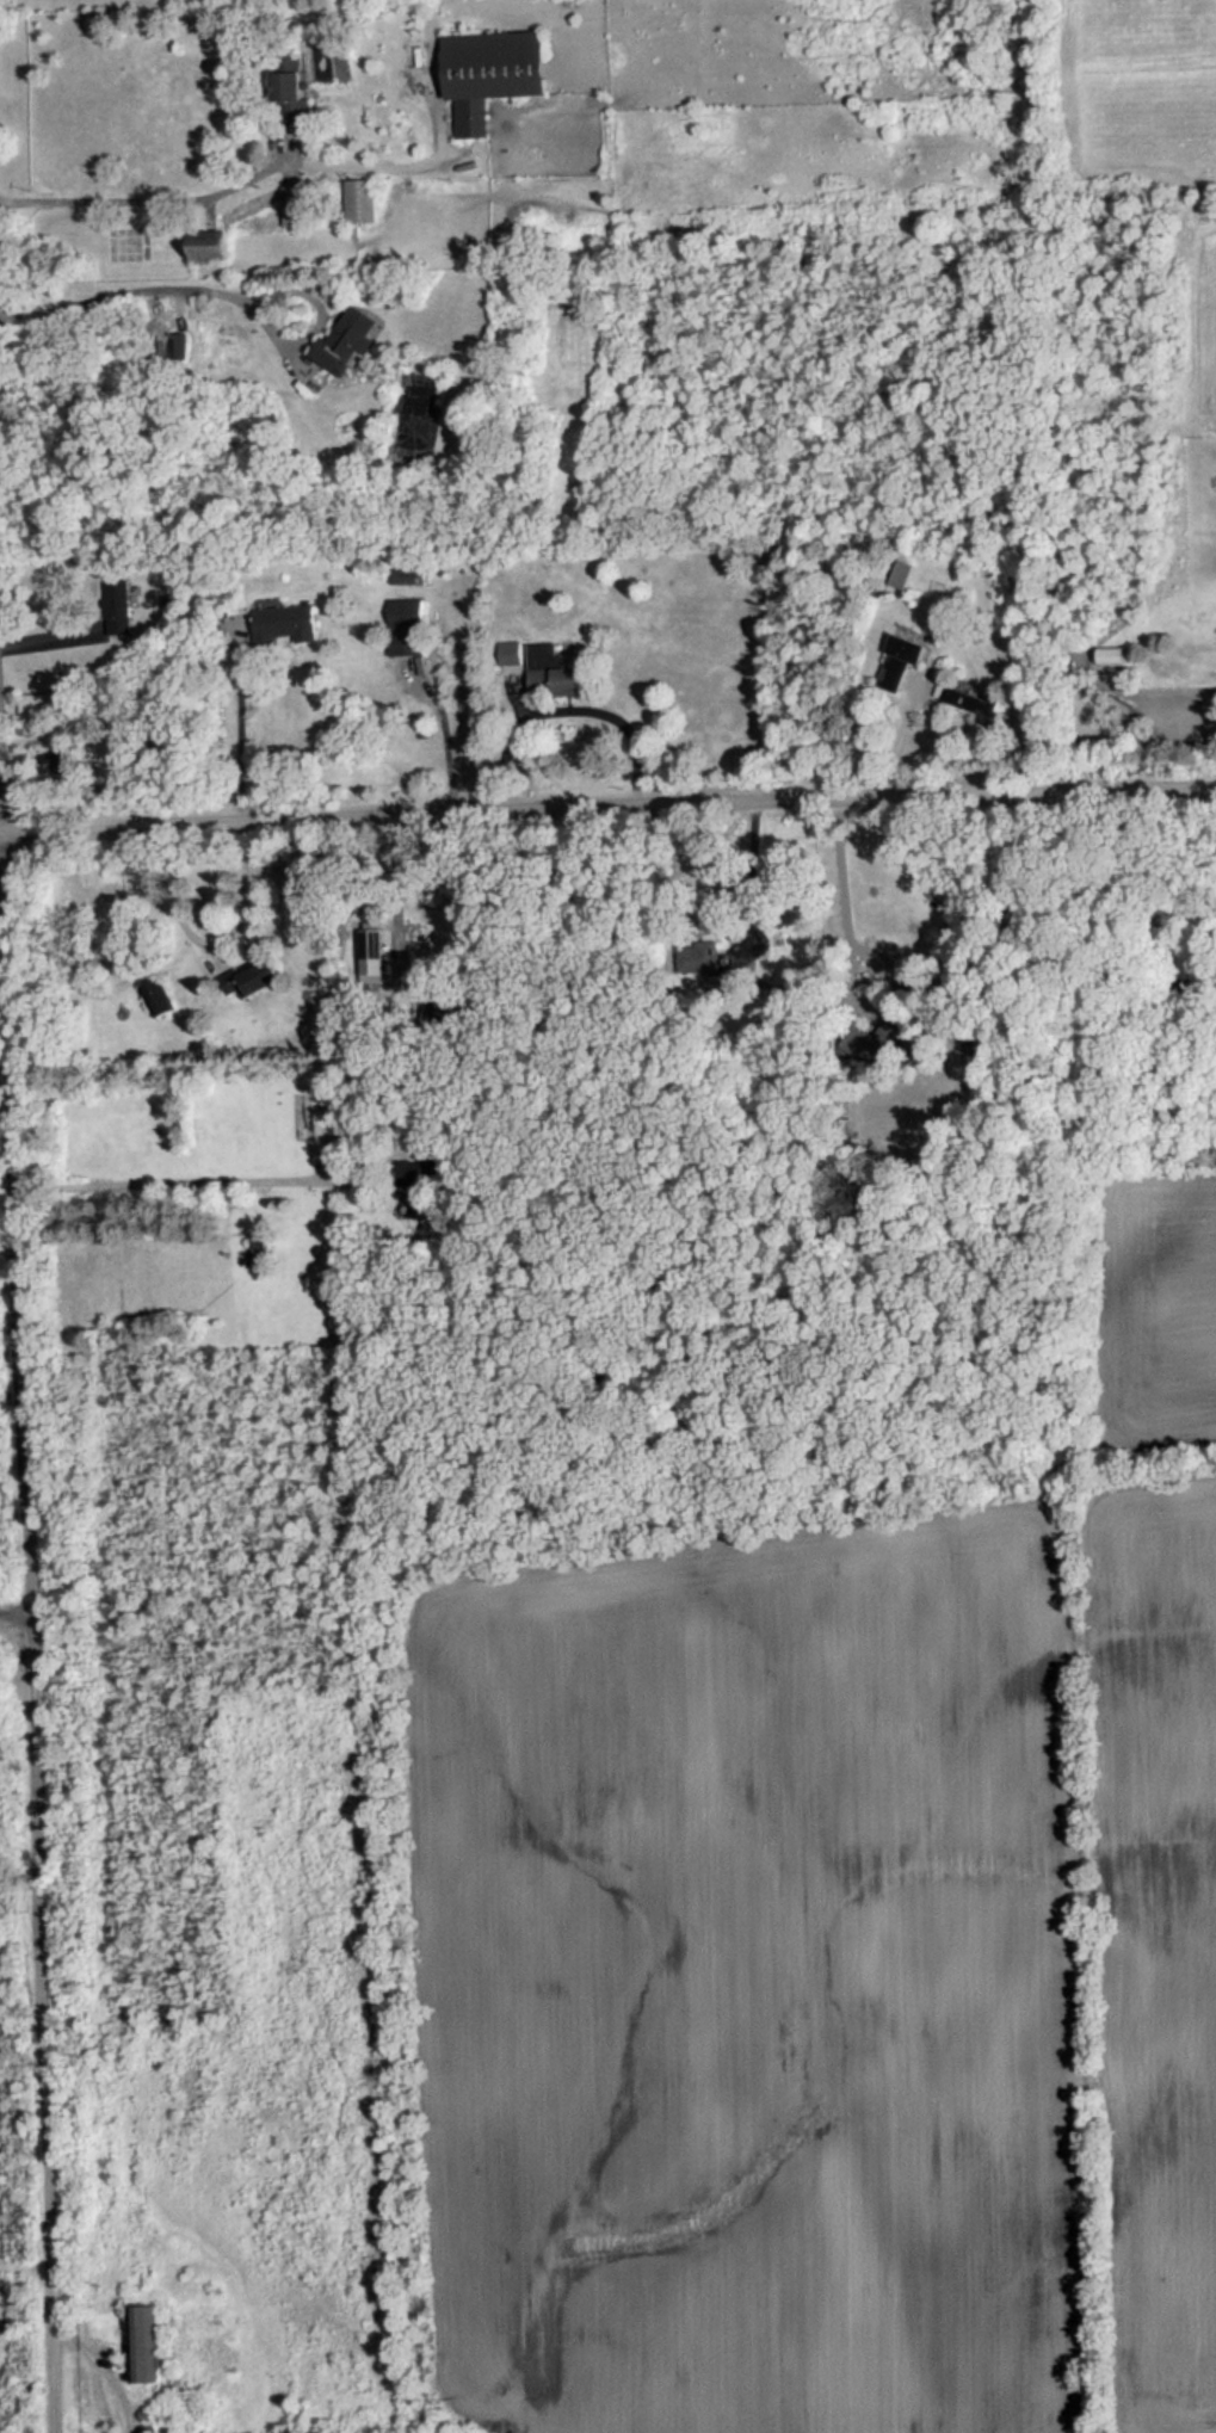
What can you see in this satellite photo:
building: (492, 72)
building: (288, 85)
crop: (1149, 136)
road: (363, 168)
building: (362, 198)
road: (140, 200)
building: (295, 203)
building: (212, 247)
road: (117, 297)
road: (317, 326)
building: (347, 338)
building: (178, 342)
building: (903, 575)
building: (119, 606)
building: (407, 610)
building: (285, 622)
building: (510, 650)
building: (1111, 650)
building: (900, 659)
building: (551, 668)
building: (979, 703)
road: (564, 716)
road: (242, 727)
road: (449, 736)
road: (900, 736)
road: (607, 808)
road: (754, 873)
road: (252, 888)
road: (396, 890)
road: (847, 904)
building: (697, 949)
building: (365, 971)
building: (253, 976)
building: (158, 994)
building: (467, 999)
building: (877, 1037)
building: (418, 1172)
road: (174, 1186)
building: (258, 1243)
road: (30, 1589)
road: (16, 1626)
building: (144, 2341)

